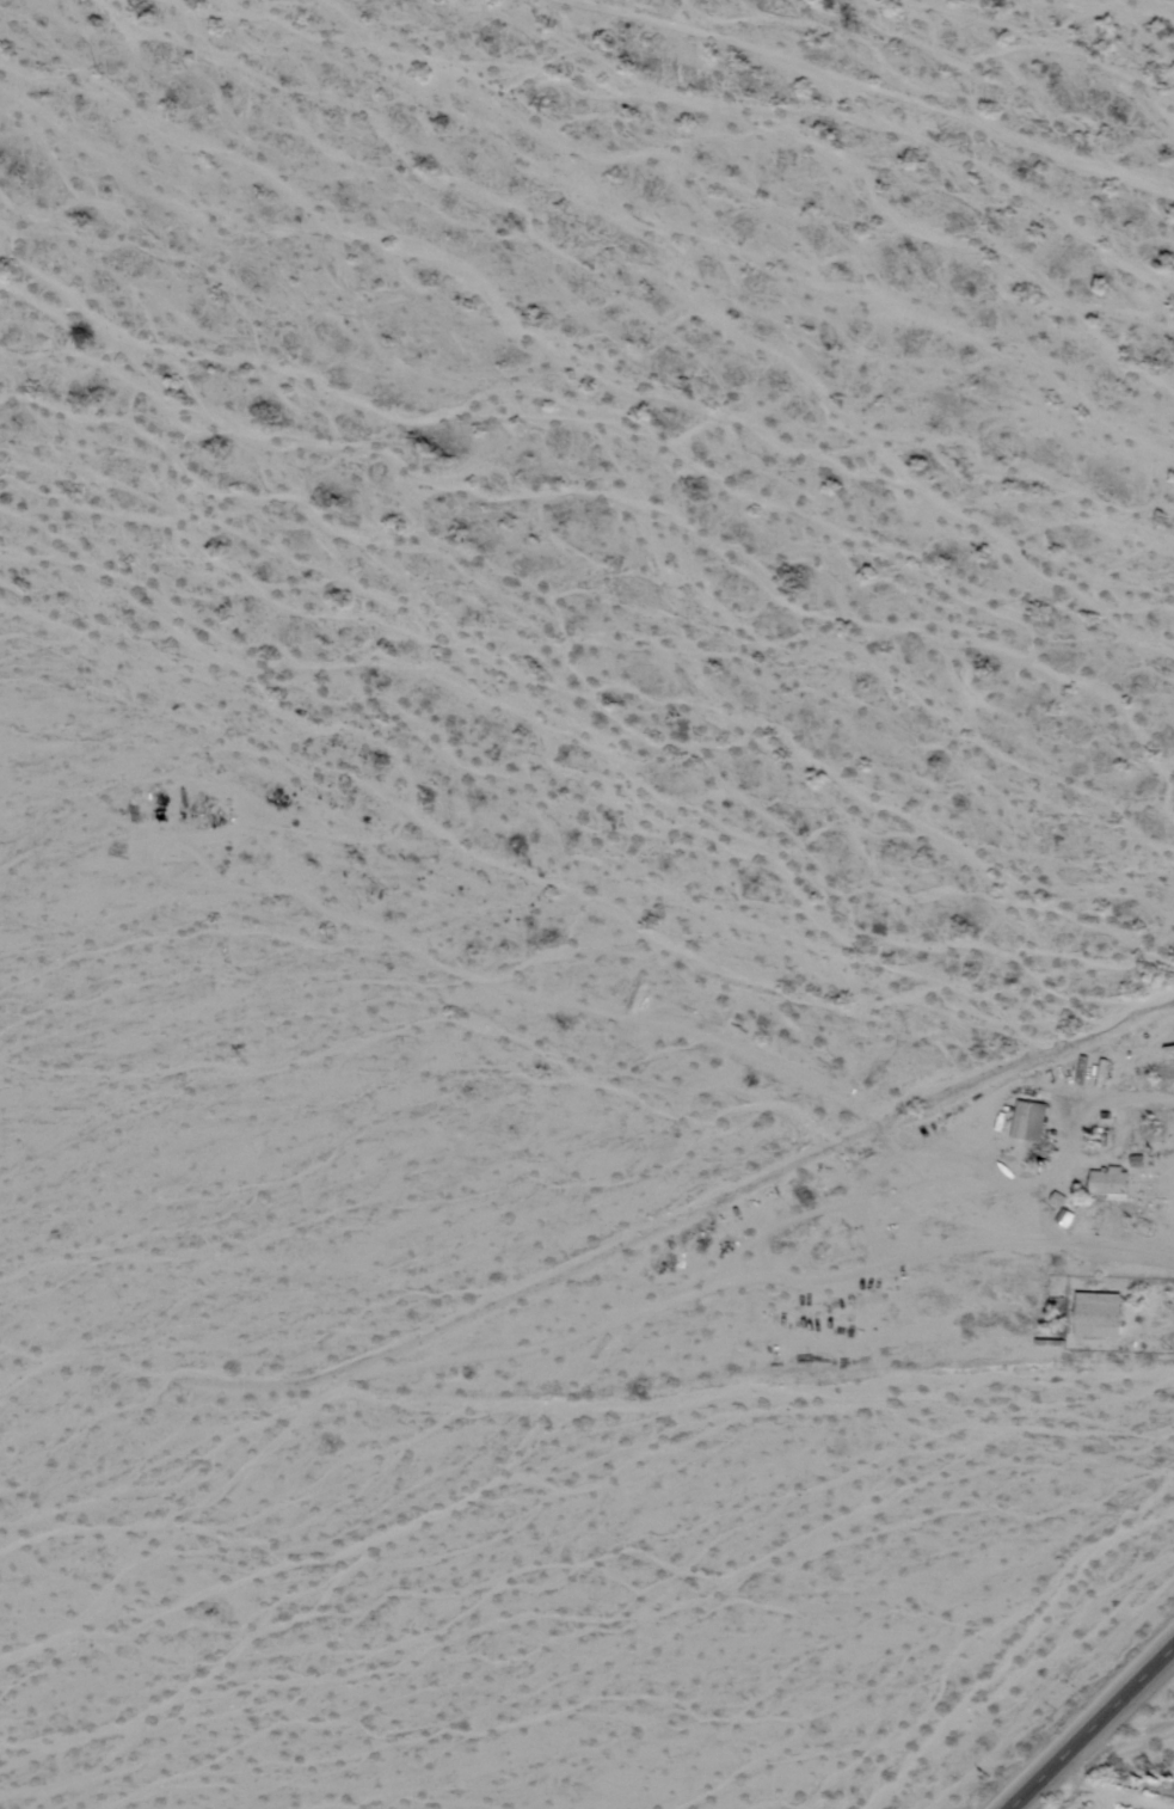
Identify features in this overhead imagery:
building: (1027, 1121)
building: (1108, 1183)
building: (1096, 1314)
road: (1092, 1727)

